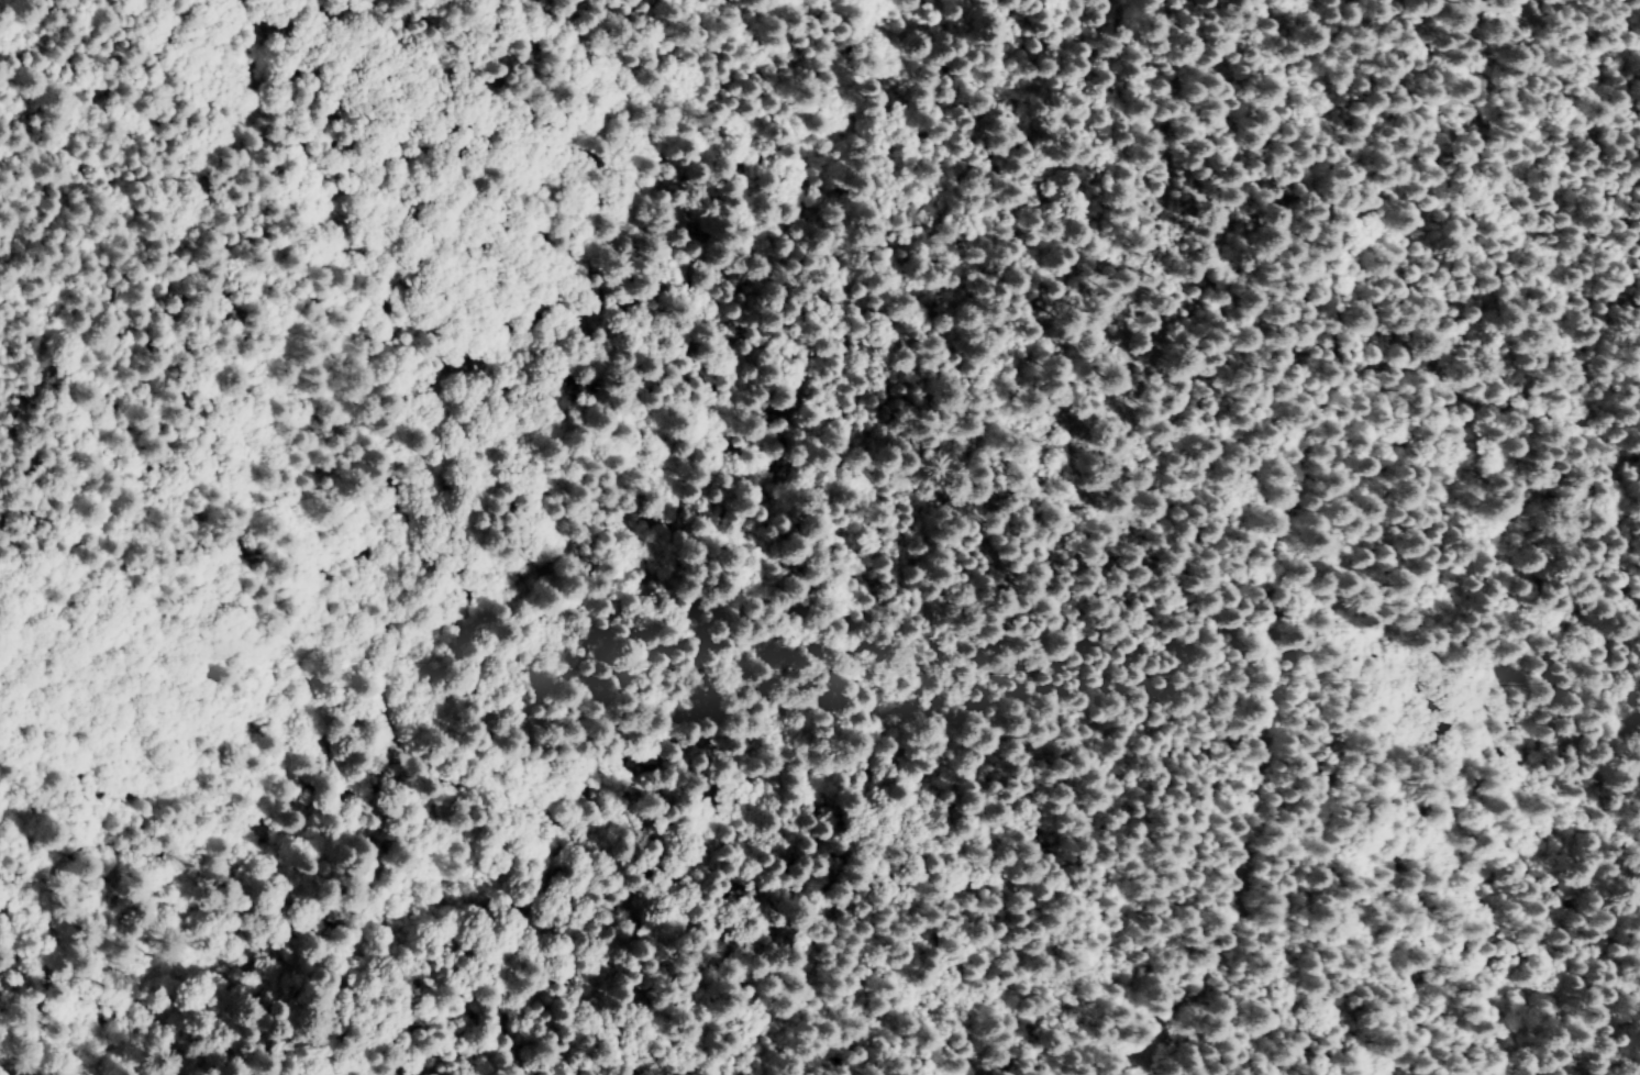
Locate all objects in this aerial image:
road: (1289, 470)
road: (396, 640)

